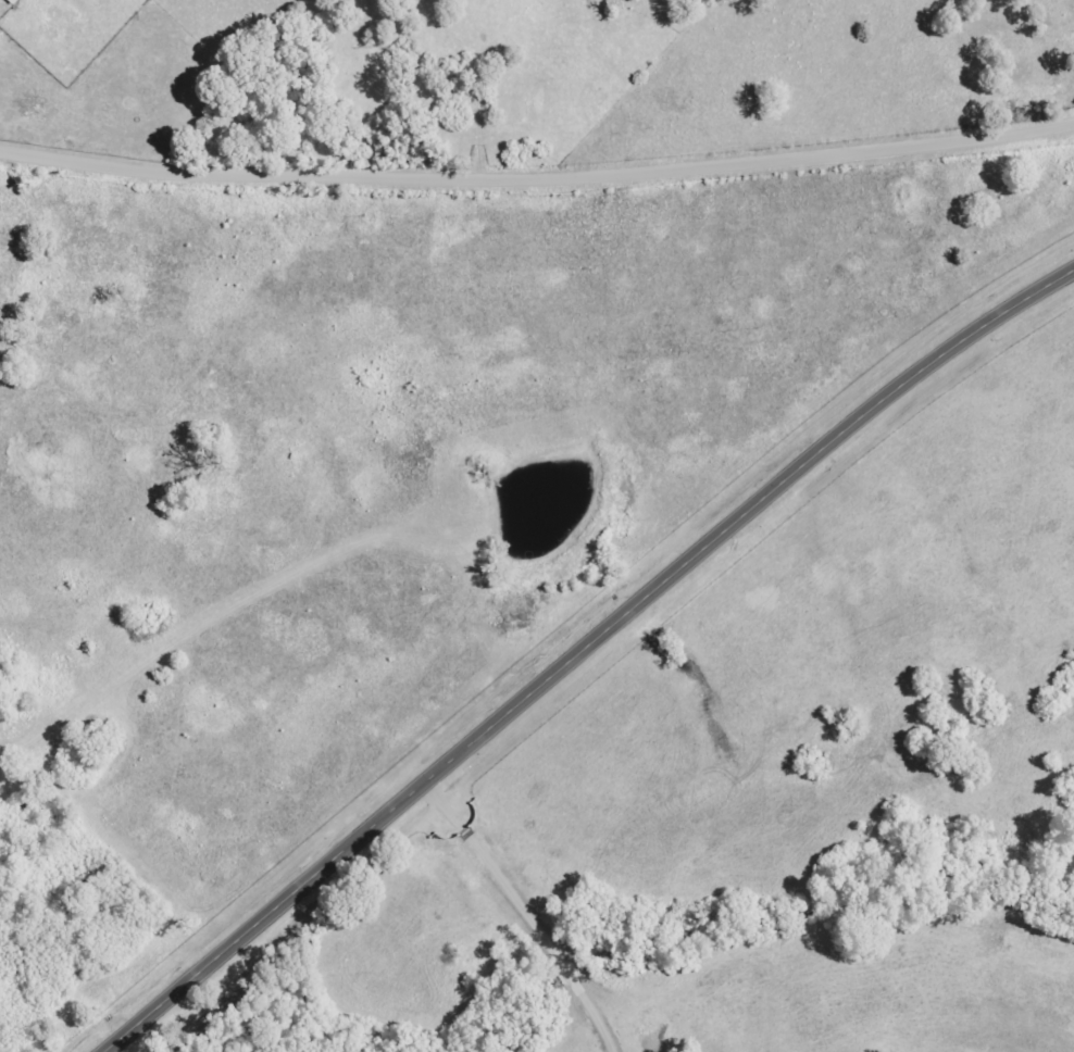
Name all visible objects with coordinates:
road: (537, 180)
road: (584, 652)

